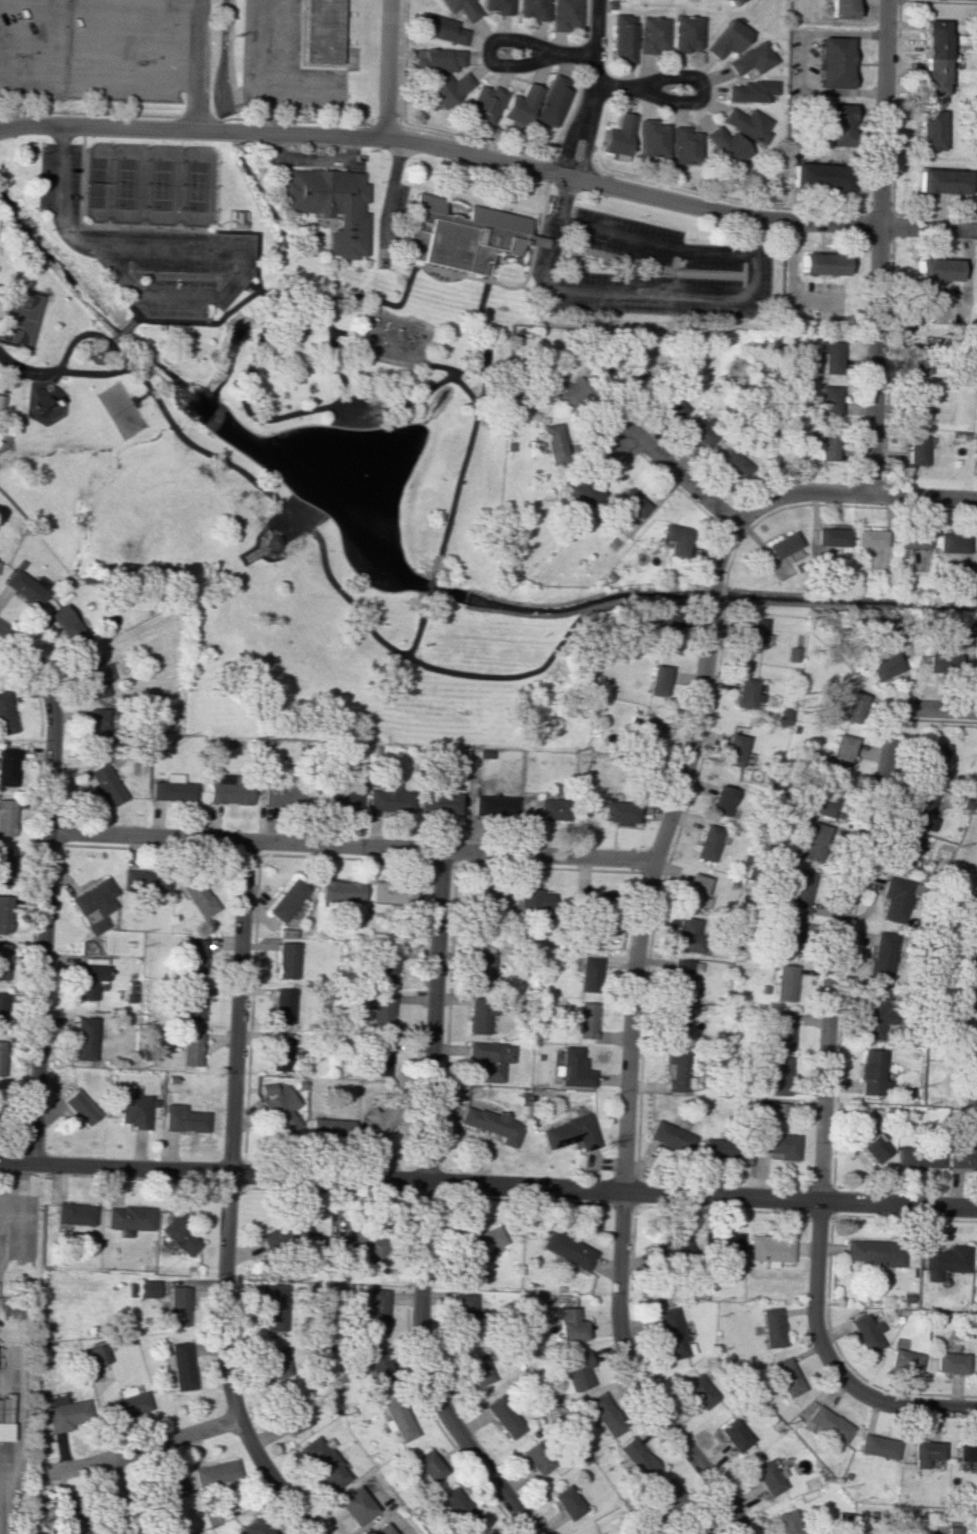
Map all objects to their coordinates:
building: (730, 0)
road: (98, 4)
building: (499, 6)
building: (463, 8)
building: (535, 9)
building: (839, 9)
building: (567, 15)
building: (441, 28)
building: (321, 32)
building: (686, 33)
building: (654, 35)
building: (624, 37)
road: (98, 38)
building: (728, 38)
building: (933, 57)
building: (438, 59)
building: (752, 59)
road: (594, 61)
road: (803, 62)
building: (834, 62)
road: (195, 64)
road: (504, 64)
road: (390, 68)
road: (97, 77)
building: (449, 89)
building: (751, 91)
building: (552, 101)
road: (690, 101)
building: (486, 103)
building: (521, 107)
road: (87, 112)
road: (196, 118)
road: (295, 121)
road: (384, 123)
building: (747, 123)
building: (836, 125)
building: (928, 130)
building: (618, 137)
building: (651, 138)
road: (68, 144)
road: (570, 145)
building: (683, 145)
road: (442, 146)
building: (726, 148)
road: (587, 149)
road: (520, 152)
road: (574, 158)
road: (310, 159)
building: (818, 176)
building: (942, 181)
park: (147, 185)
road: (688, 190)
road: (389, 194)
building: (330, 205)
road: (829, 210)
building: (235, 221)
road: (243, 221)
road: (928, 225)
road: (101, 226)
road: (255, 232)
road: (537, 232)
building: (460, 235)
road: (655, 244)
road: (878, 245)
parking lot: (146, 249)
road: (407, 263)
building: (821, 263)
road: (638, 264)
road: (674, 265)
road: (625, 267)
parking lot: (644, 268)
building: (936, 269)
road: (487, 273)
road: (742, 273)
road: (196, 275)
road: (333, 275)
road: (513, 287)
road: (253, 288)
road: (965, 288)
road: (632, 295)
road: (175, 297)
road: (378, 300)
road: (480, 303)
road: (312, 310)
road: (134, 312)
road: (247, 315)
park: (17, 316)
building: (294, 329)
road: (282, 335)
road: (109, 341)
road: (106, 345)
building: (829, 356)
road: (391, 360)
road: (5, 364)
building: (918, 365)
road: (47, 376)
building: (630, 378)
road: (50, 381)
road: (5, 382)
building: (574, 393)
road: (141, 397)
building: (0, 398)
building: (828, 400)
road: (1, 403)
building: (917, 405)
building: (672, 407)
park: (120, 409)
park: (323, 410)
road: (336, 413)
road: (257, 417)
road: (379, 424)
road: (471, 424)
building: (700, 432)
road: (4, 439)
building: (554, 444)
building: (825, 444)
building: (914, 450)
building: (734, 463)
road: (678, 471)
fountain: (360, 475)
road: (850, 491)
building: (582, 495)
building: (631, 502)
road: (308, 503)
road: (294, 516)
building: (830, 536)
building: (867, 538)
building: (674, 539)
building: (909, 540)
building: (950, 542)
building: (976, 544)
road: (260, 549)
building: (784, 550)
road: (253, 555)
road: (428, 573)
building: (25, 587)
road: (636, 600)
building: (65, 625)
building: (664, 625)
building: (753, 634)
road: (392, 648)
building: (942, 664)
building: (883, 667)
building: (92, 676)
road: (499, 676)
building: (658, 680)
building: (746, 693)
building: (849, 704)
road: (929, 705)
building: (5, 715)
road: (53, 719)
building: (647, 728)
building: (97, 730)
building: (735, 751)
building: (841, 751)
building: (450, 759)
building: (933, 763)
building: (8, 767)
building: (104, 784)
building: (171, 789)
building: (226, 790)
building: (279, 795)
building: (387, 798)
building: (337, 799)
building: (721, 800)
building: (438, 803)
building: (827, 804)
building: (494, 805)
building: (551, 808)
building: (918, 808)
building: (619, 811)
building: (7, 817)
building: (708, 842)
building: (814, 842)
road: (350, 845)
road: (655, 851)
building: (903, 852)
building: (6, 865)
building: (145, 880)
building: (800, 888)
building: (341, 890)
building: (696, 891)
building: (488, 895)
building: (393, 896)
building: (198, 897)
building: (287, 899)
building: (896, 899)
building: (535, 900)
building: (94, 904)
building: (594, 907)
building: (4, 913)
building: (689, 934)
building: (789, 934)
building: (196, 955)
building: (882, 957)
building: (976, 957)
road: (832, 958)
building: (287, 959)
building: (3, 960)
building: (385, 963)
building: (481, 968)
building: (590, 974)
building: (679, 978)
building: (88, 980)
building: (785, 983)
building: (974, 989)
road: (40, 997)
building: (192, 1002)
building: (282, 1005)
road: (236, 1006)
building: (2, 1008)
building: (382, 1011)
building: (480, 1014)
building: (874, 1014)
road: (434, 1015)
building: (586, 1020)
building: (677, 1025)
building: (781, 1030)
building: (84, 1038)
building: (973, 1039)
building: (191, 1047)
building: (280, 1053)
building: (2, 1057)
building: (491, 1058)
building: (379, 1059)
building: (574, 1068)
building: (871, 1072)
building: (779, 1075)
building: (972, 1085)
building: (281, 1106)
building: (80, 1108)
building: (136, 1111)
building: (183, 1119)
building: (378, 1121)
building: (492, 1124)
building: (329, 1128)
building: (570, 1133)
building: (860, 1133)
building: (670, 1137)
building: (778, 1145)
building: (873, 1148)
building: (723, 1149)
building: (964, 1154)
building: (919, 1156)
road: (488, 1183)
building: (74, 1213)
building: (128, 1218)
building: (284, 1234)
building: (180, 1236)
building: (362, 1241)
building: (482, 1242)
building: (724, 1242)
building: (669, 1247)
building: (568, 1249)
building: (770, 1249)
building: (873, 1251)
building: (945, 1261)
building: (975, 1262)
building: (148, 1288)
building: (178, 1305)
building: (273, 1306)
building: (375, 1311)
building: (465, 1313)
building: (568, 1323)
building: (772, 1327)
building: (866, 1332)
building: (670, 1333)
building: (97, 1354)
road: (826, 1358)
building: (904, 1360)
building: (274, 1362)
building: (950, 1362)
building: (180, 1365)
road: (224, 1366)
building: (477, 1369)
building: (376, 1370)
building: (574, 1371)
road: (428, 1373)
building: (787, 1376)
road: (634, 1378)
building: (699, 1391)
building: (127, 1406)
road: (973, 1408)
building: (66, 1413)
building: (605, 1414)
building: (291, 1416)
building: (504, 1417)
building: (398, 1419)
building: (827, 1424)
building: (5, 1431)
building: (734, 1435)
building: (878, 1446)
road: (133, 1449)
building: (966, 1452)
building: (924, 1453)
building: (536, 1458)
building: (636, 1458)
building: (324, 1463)
building: (428, 1465)
building: (215, 1473)
building: (768, 1477)
building: (167, 1488)
building: (664, 1494)
road: (118, 1495)
building: (567, 1502)
building: (355, 1505)
building: (459, 1508)
building: (789, 1522)
building: (254, 1527)
building: (381, 1529)
building: (693, 1530)
building: (953, 1530)
building: (597, 1533)

